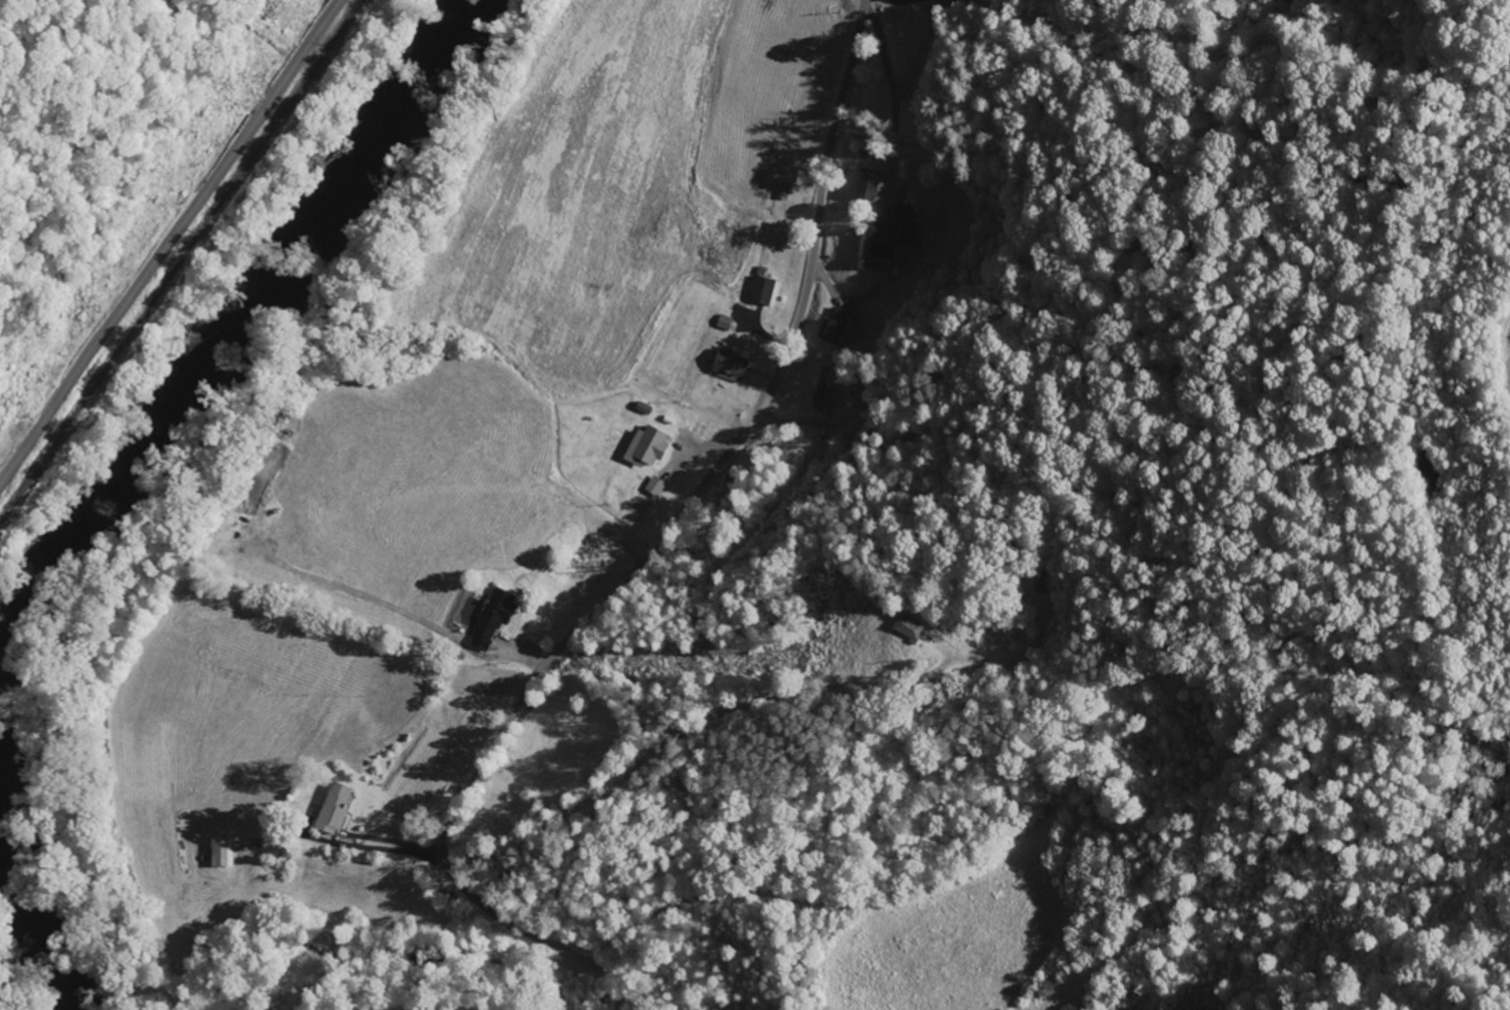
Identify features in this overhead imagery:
building: (869, 185)
building: (784, 193)
building: (897, 228)
road: (168, 241)
building: (861, 253)
railway: (180, 260)
building: (764, 291)
building: (837, 327)
river: (227, 343)
building: (732, 365)
building: (823, 391)
building: (647, 449)
building: (656, 488)
road: (648, 554)
road: (600, 570)
building: (494, 619)
building: (910, 630)
road: (682, 728)
building: (335, 810)
building: (223, 855)
river: (20, 924)

